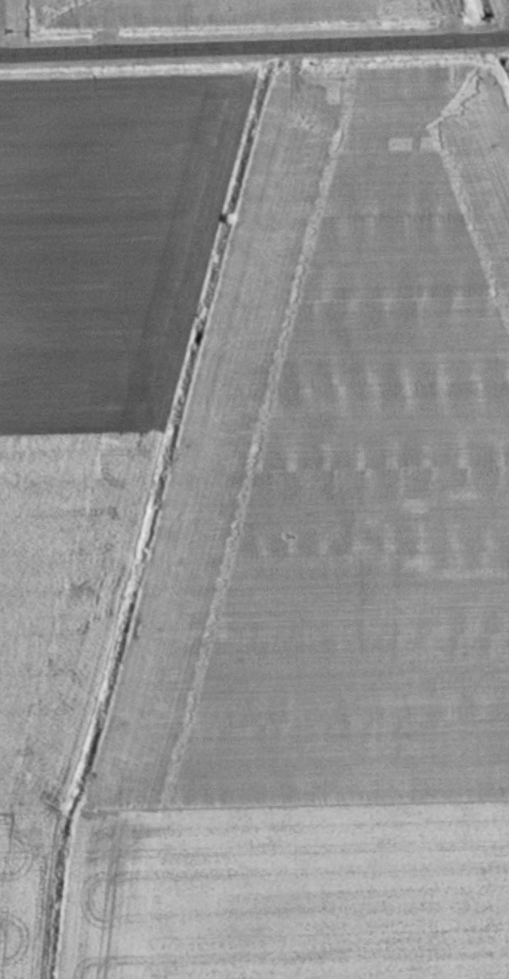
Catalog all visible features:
road: (254, 46)

